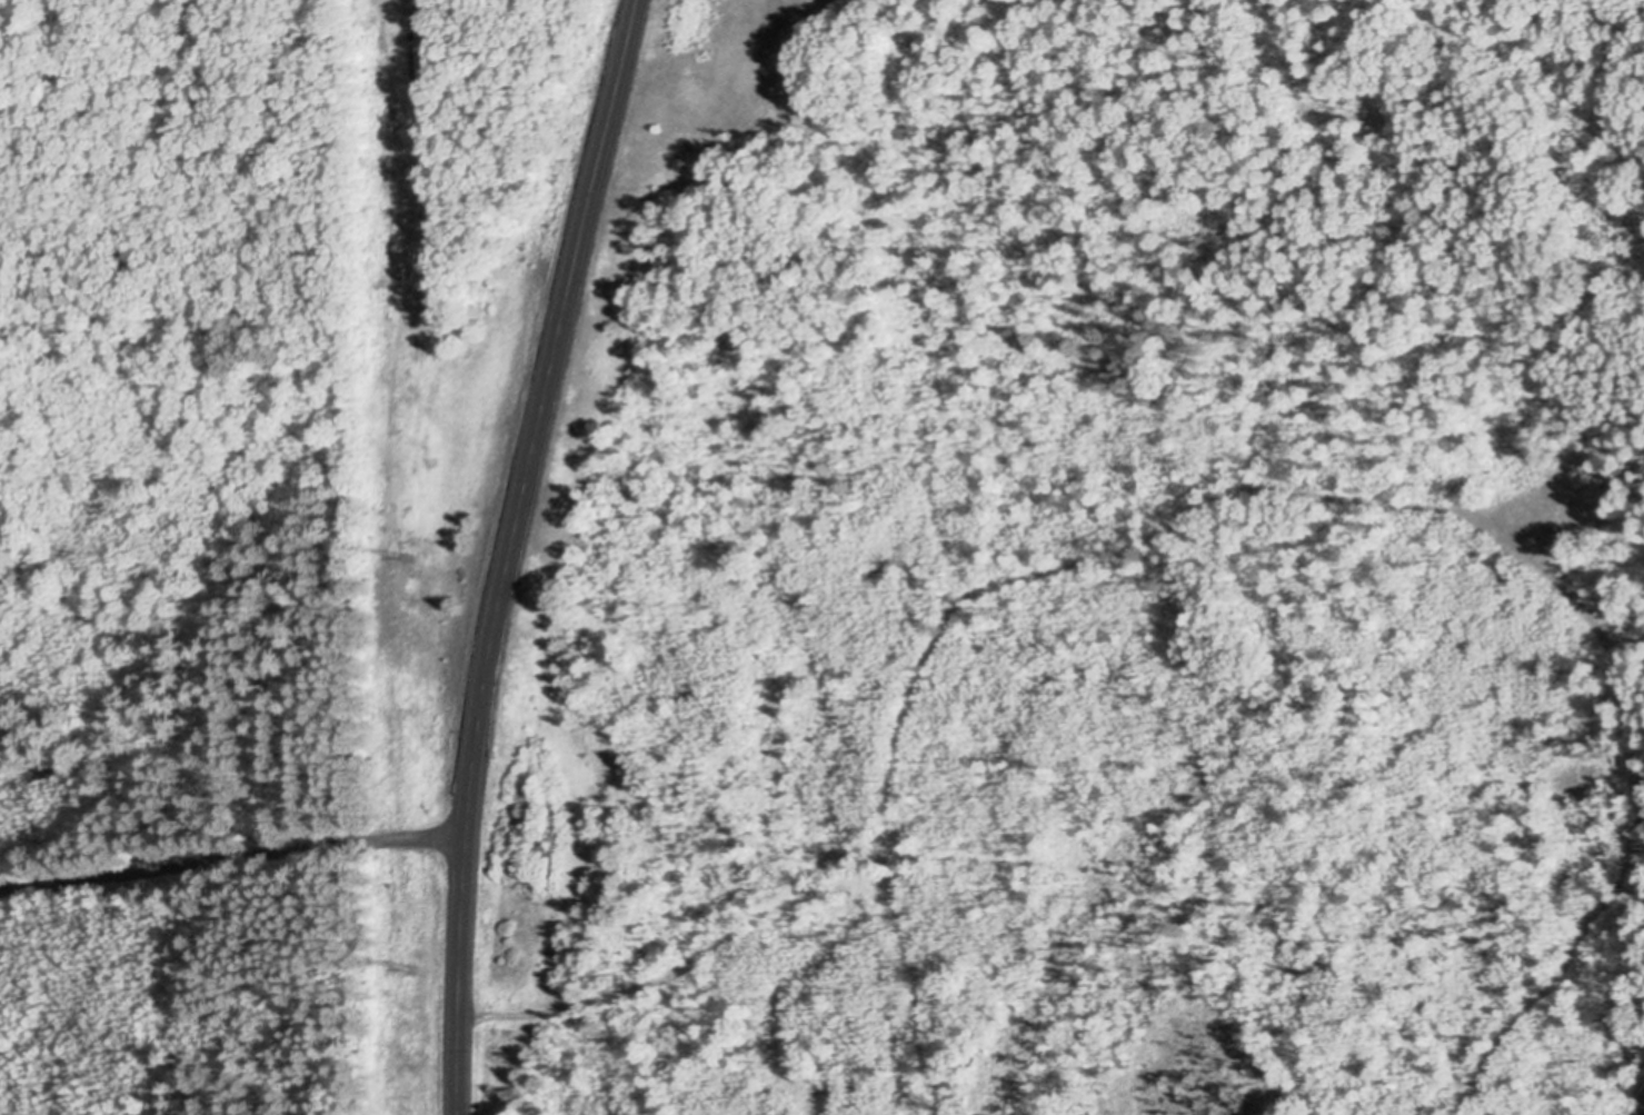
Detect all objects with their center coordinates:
road: (736, 57)
road: (516, 552)
road: (1002, 580)
road: (233, 856)
road: (1613, 895)
road: (1497, 1038)

